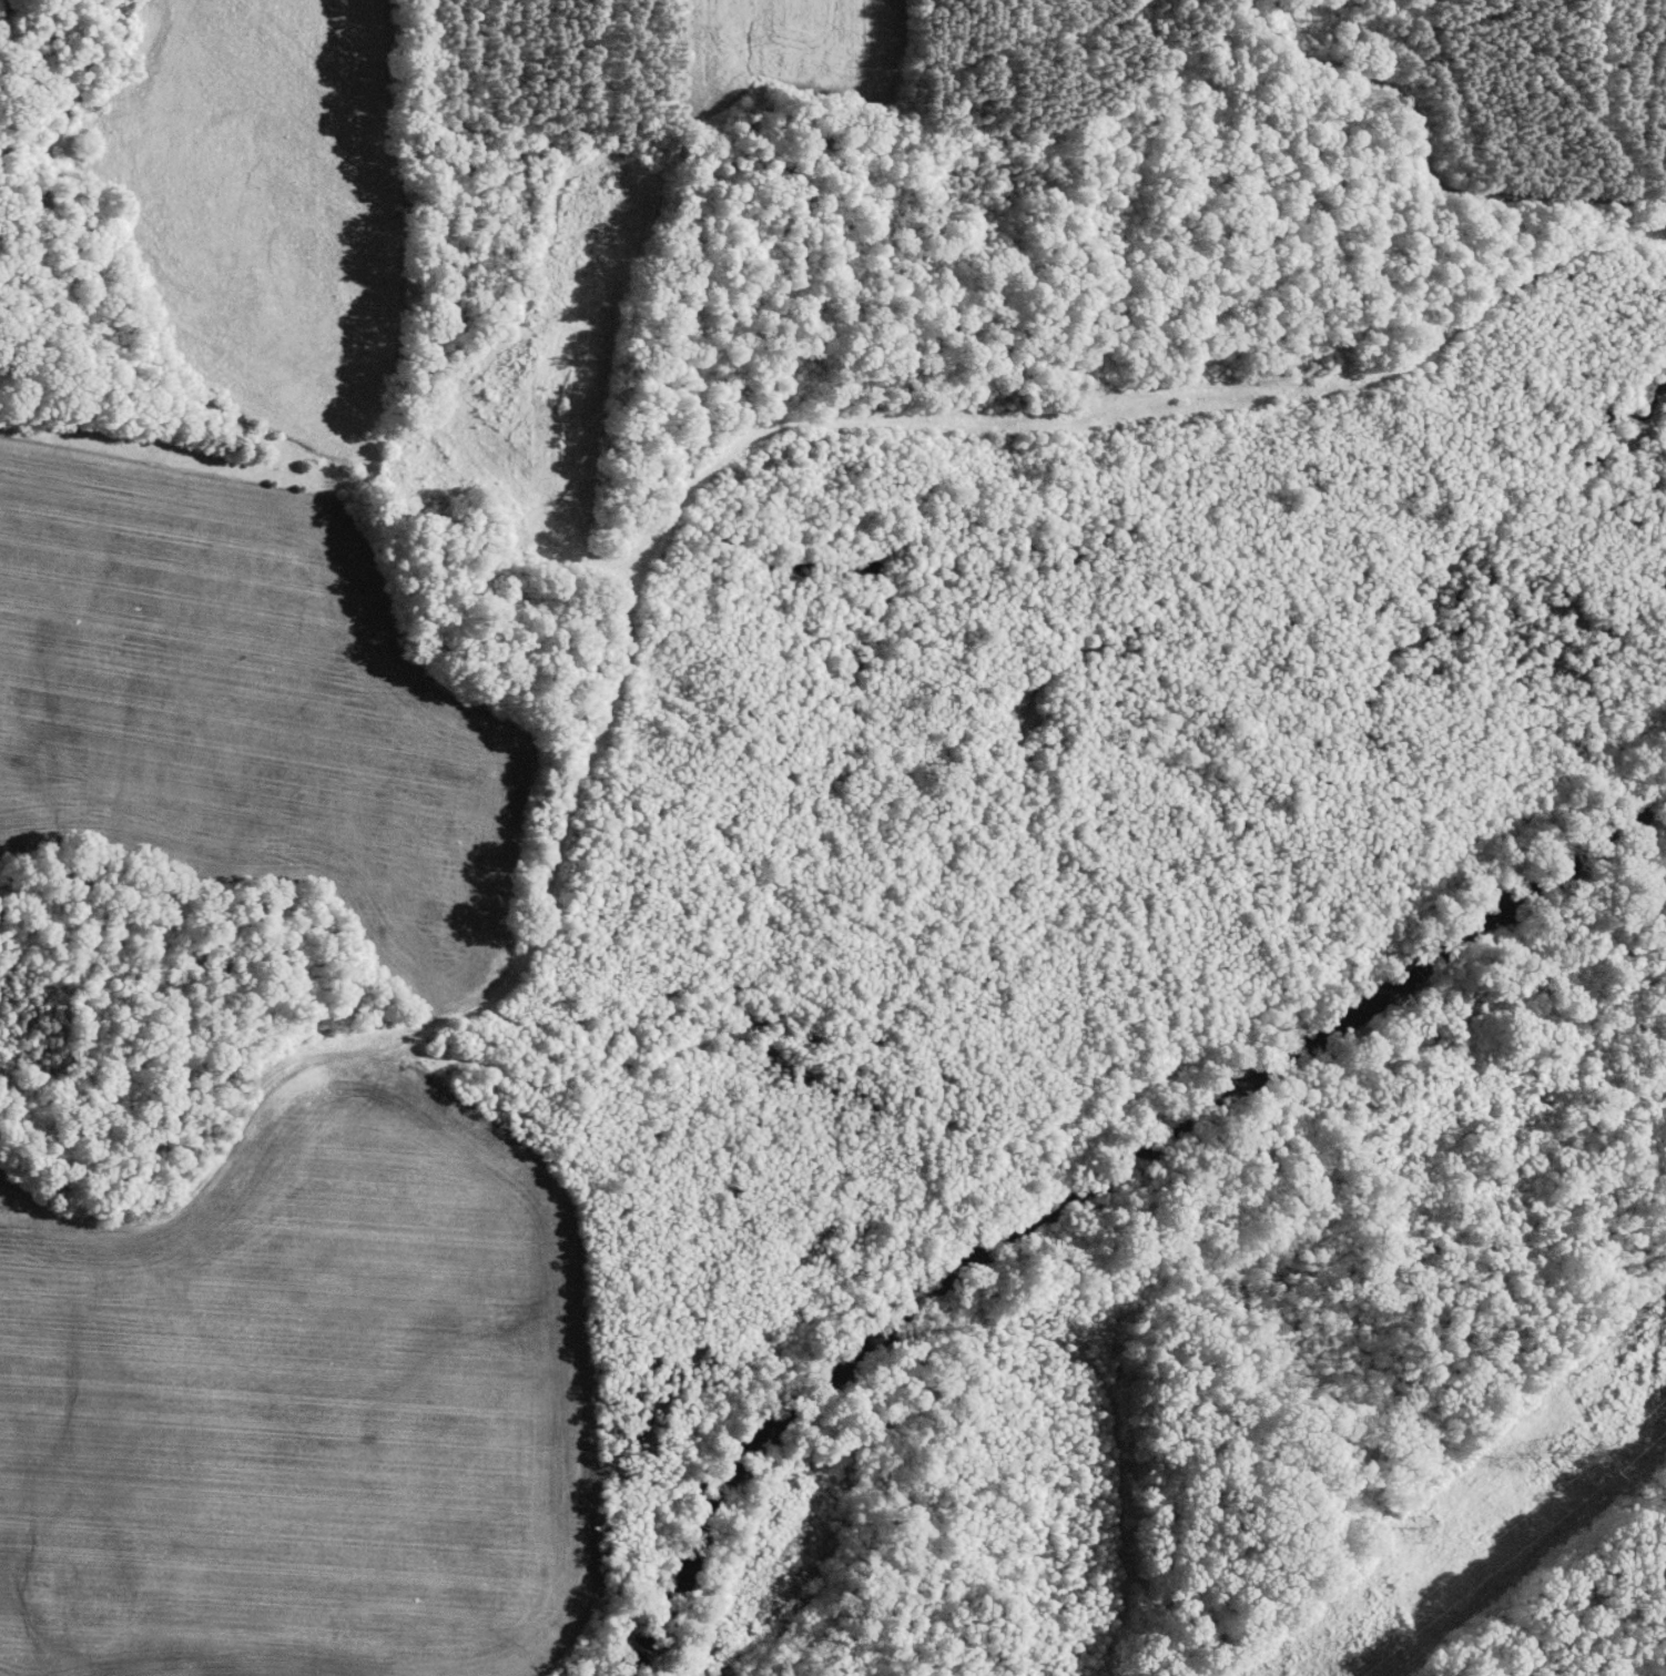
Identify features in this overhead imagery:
power tower: (1584, 1453)

